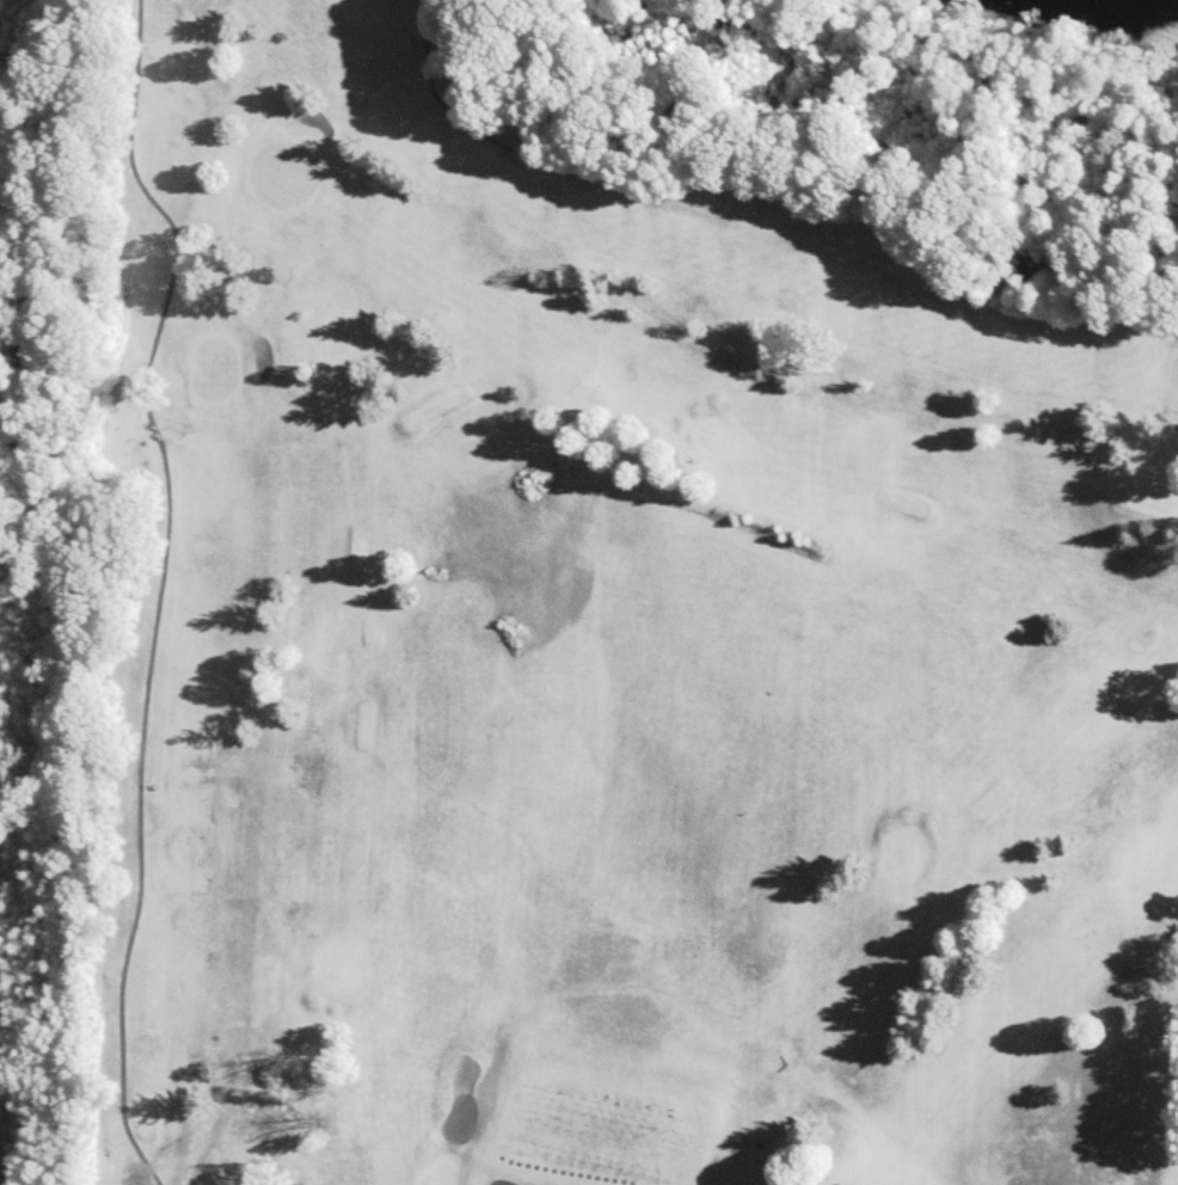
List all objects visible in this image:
park: (619, 633)
road: (295, 876)
road: (136, 1142)
road: (823, 1172)

